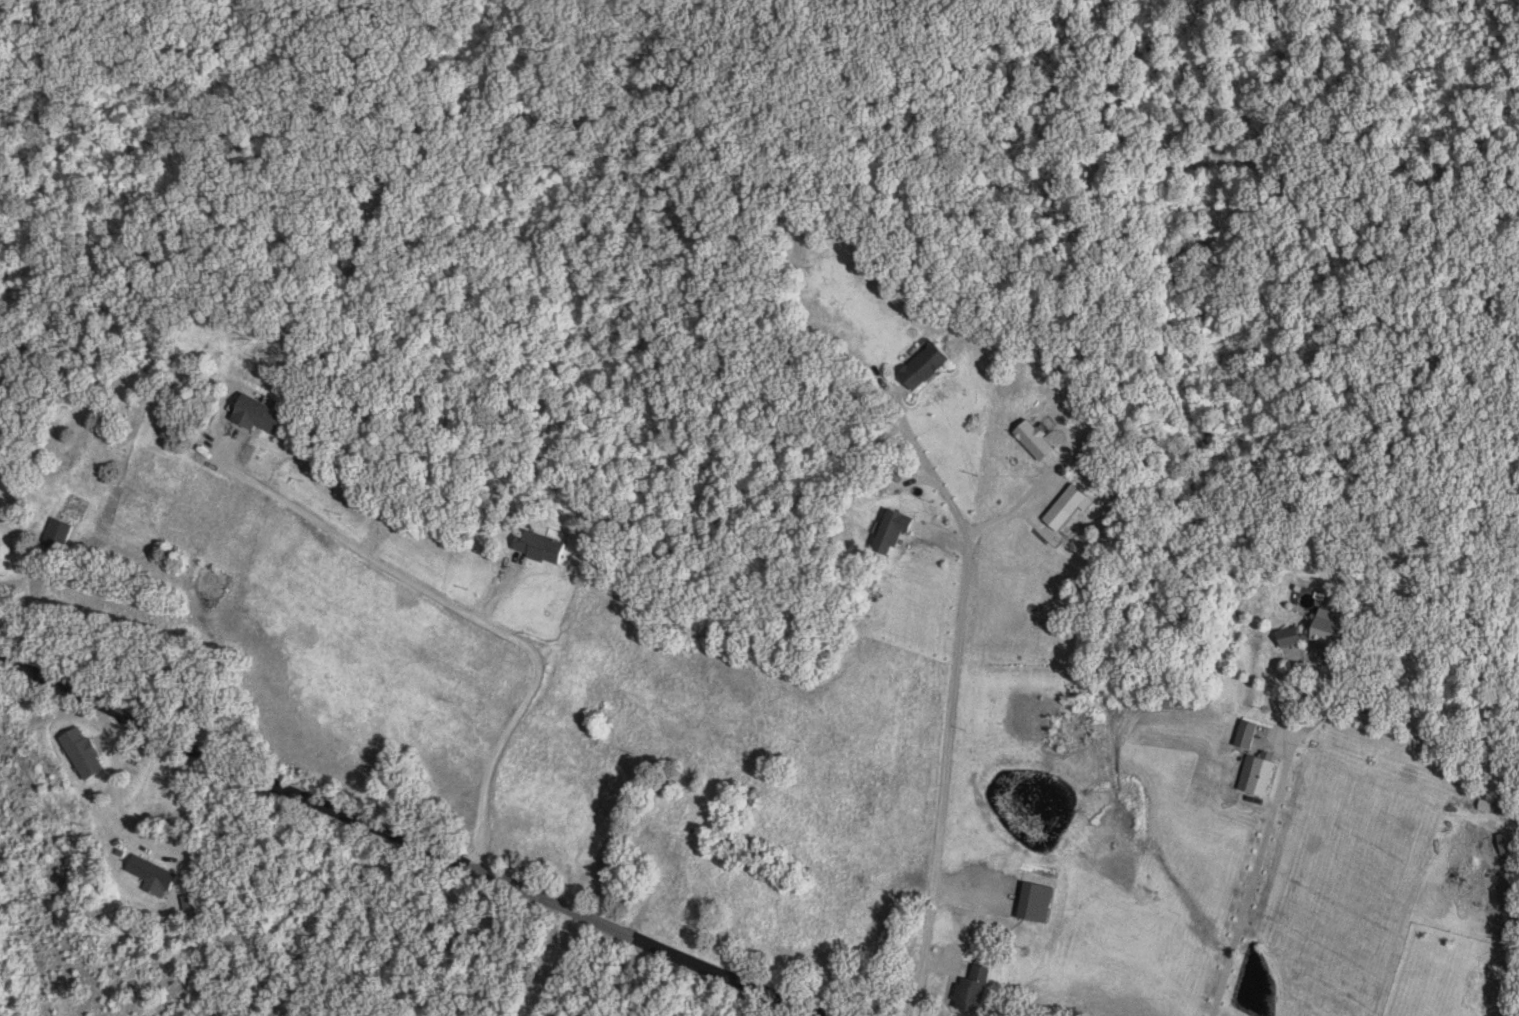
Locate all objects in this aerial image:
building: (925, 366)
building: (260, 415)
building: (893, 531)
building: (57, 534)
building: (542, 547)
building: (1319, 633)
road: (949, 716)
building: (1247, 735)
building: (1258, 775)
building: (1499, 811)
road: (415, 842)
building: (729, 842)
building: (1506, 844)
building: (150, 873)
building: (1036, 903)
road: (556, 963)
building: (977, 990)

